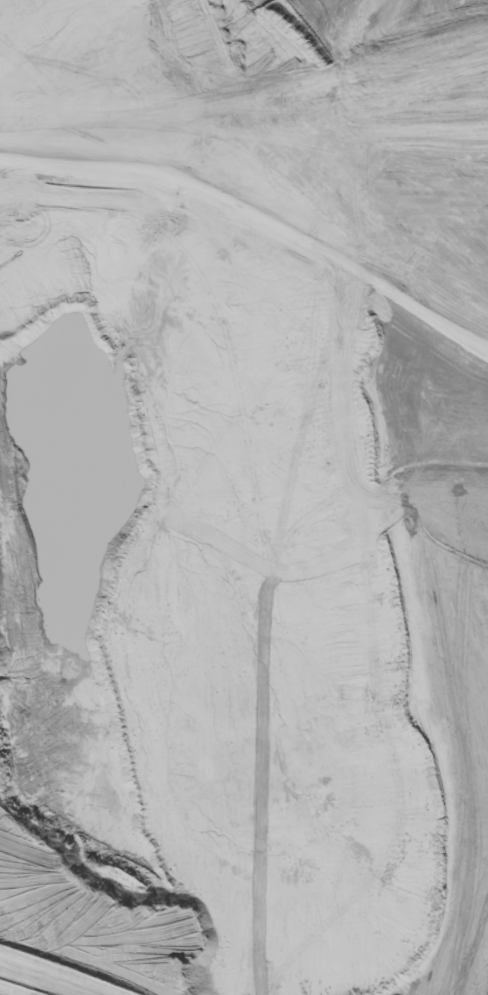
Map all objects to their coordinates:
quarry: (48, 9)

